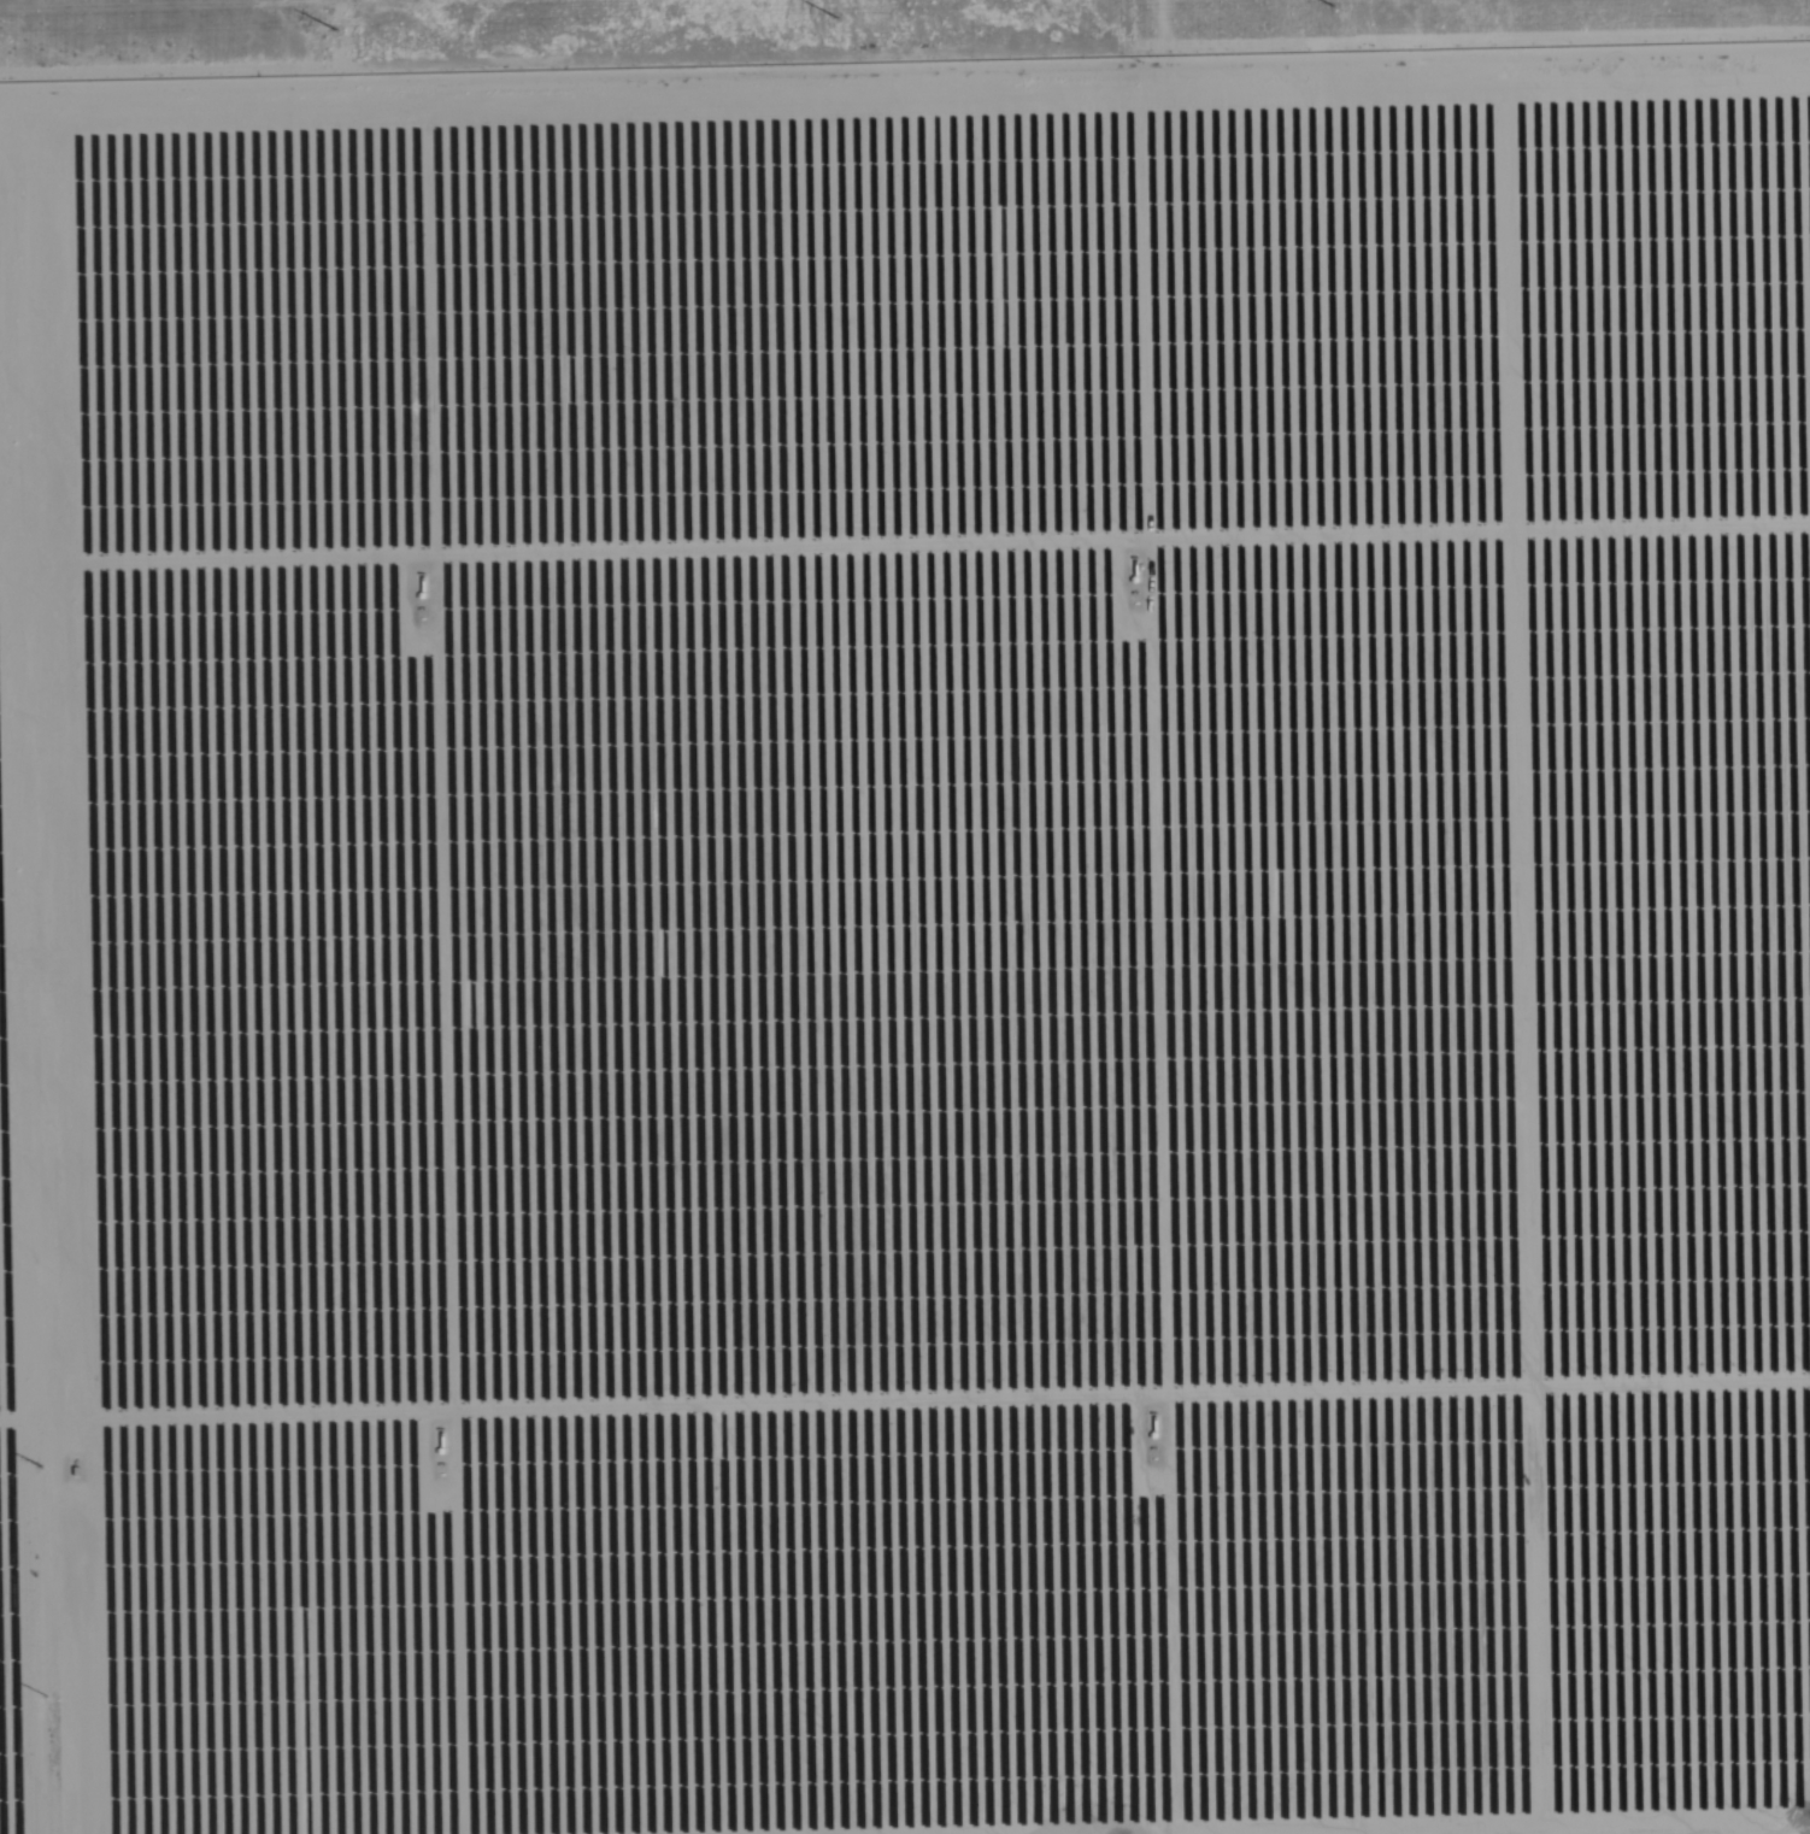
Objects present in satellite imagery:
solar farm: (907, 948)

